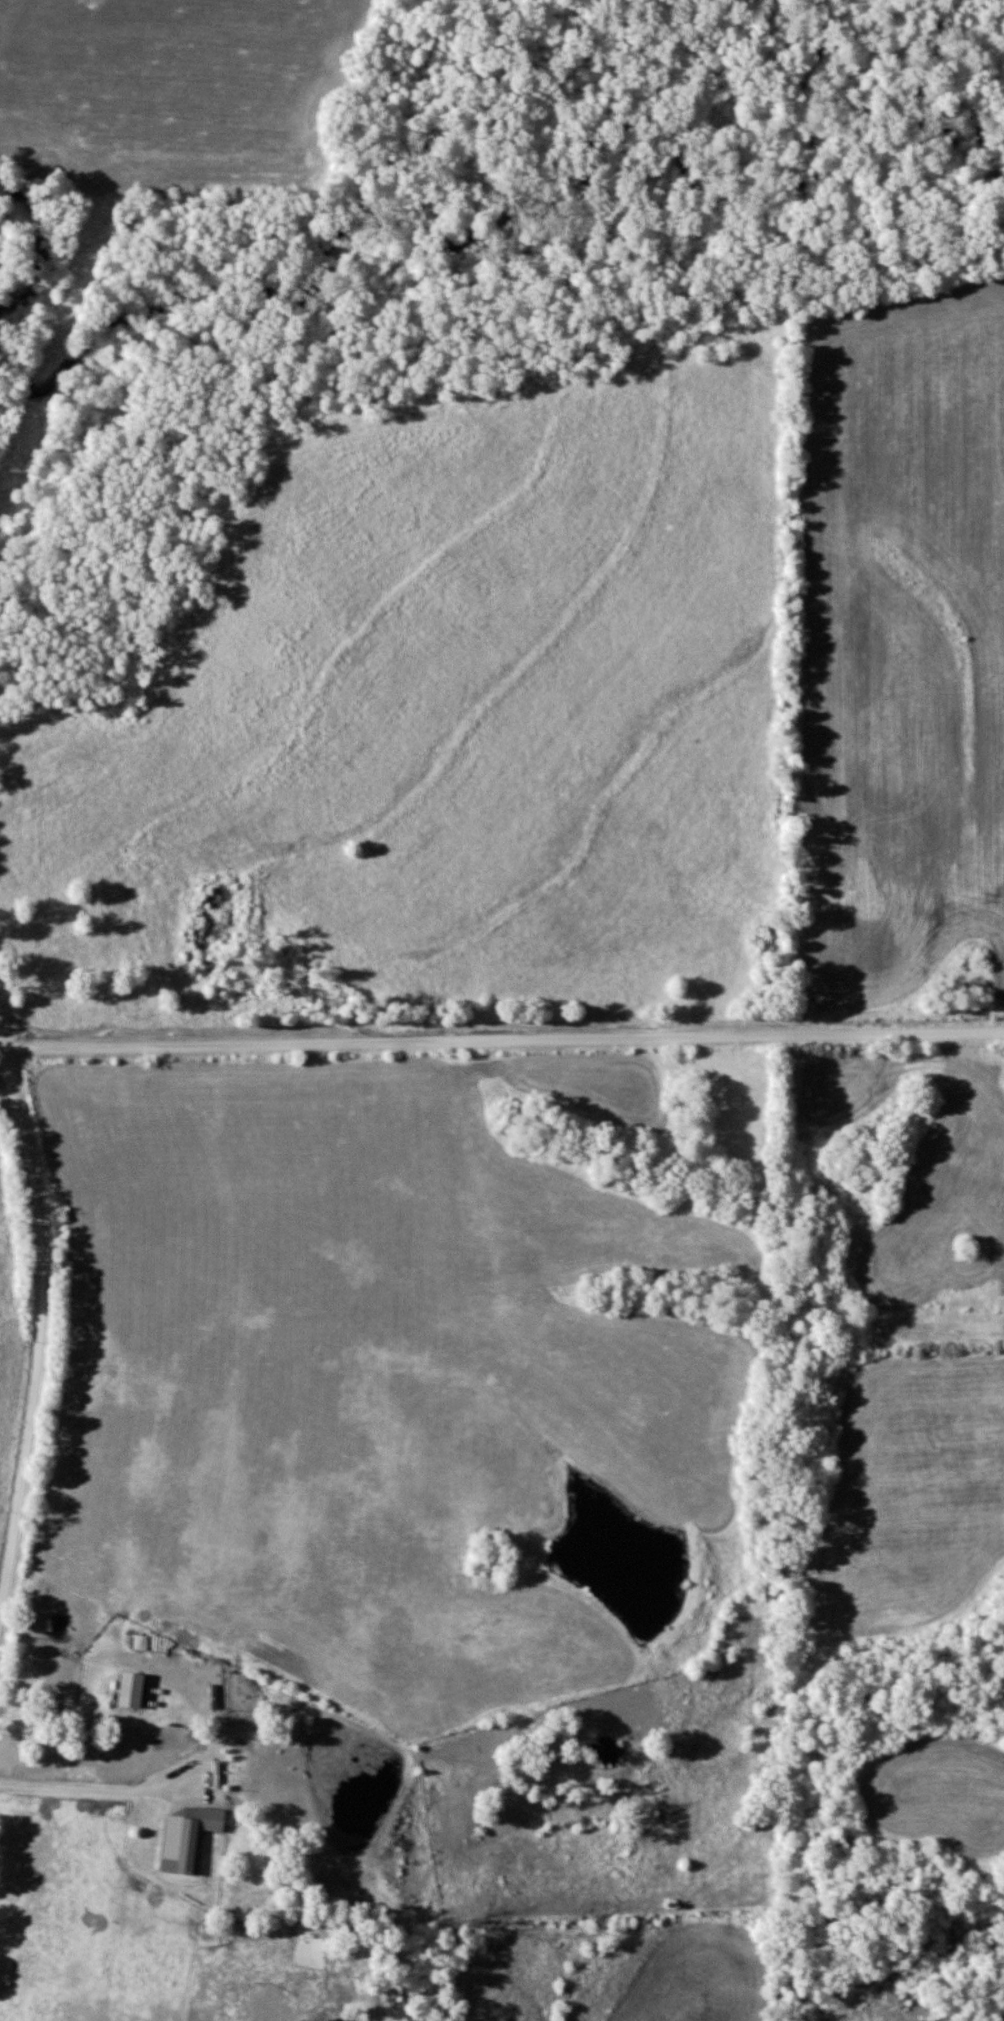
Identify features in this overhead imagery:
road: (502, 1040)
road: (38, 1330)
building: (142, 1642)
building: (131, 1691)
road: (101, 1789)
building: (188, 1838)

